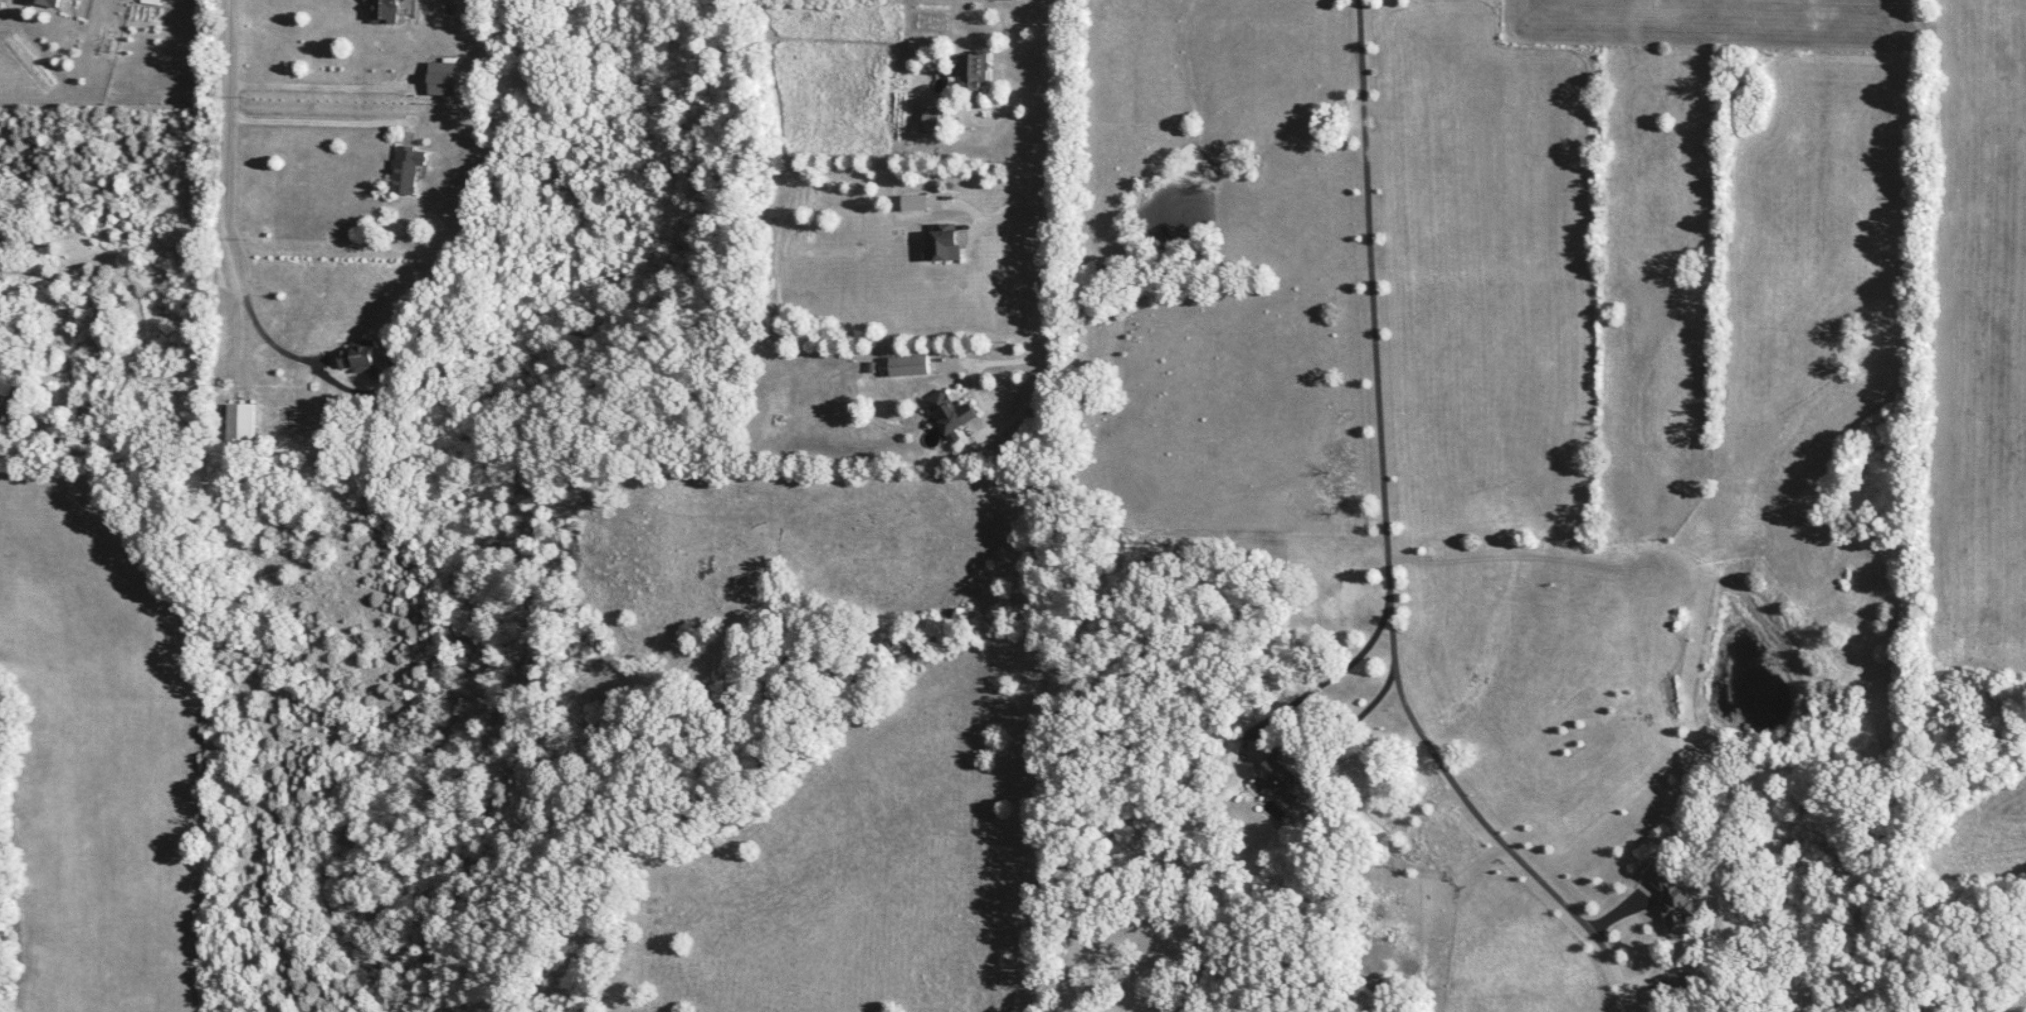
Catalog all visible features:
building: (46, 3)
building: (381, 12)
building: (973, 71)
building: (441, 79)
road: (1051, 90)
road: (334, 91)
road: (341, 119)
building: (929, 120)
building: (404, 172)
road: (973, 203)
road: (1010, 206)
building: (941, 243)
road: (241, 275)
building: (356, 359)
building: (907, 366)
road: (1381, 384)
building: (90, 410)
building: (947, 413)
building: (239, 424)
road: (58, 462)
road: (1333, 733)
building: (1279, 777)
road: (1485, 822)
building: (1675, 908)

